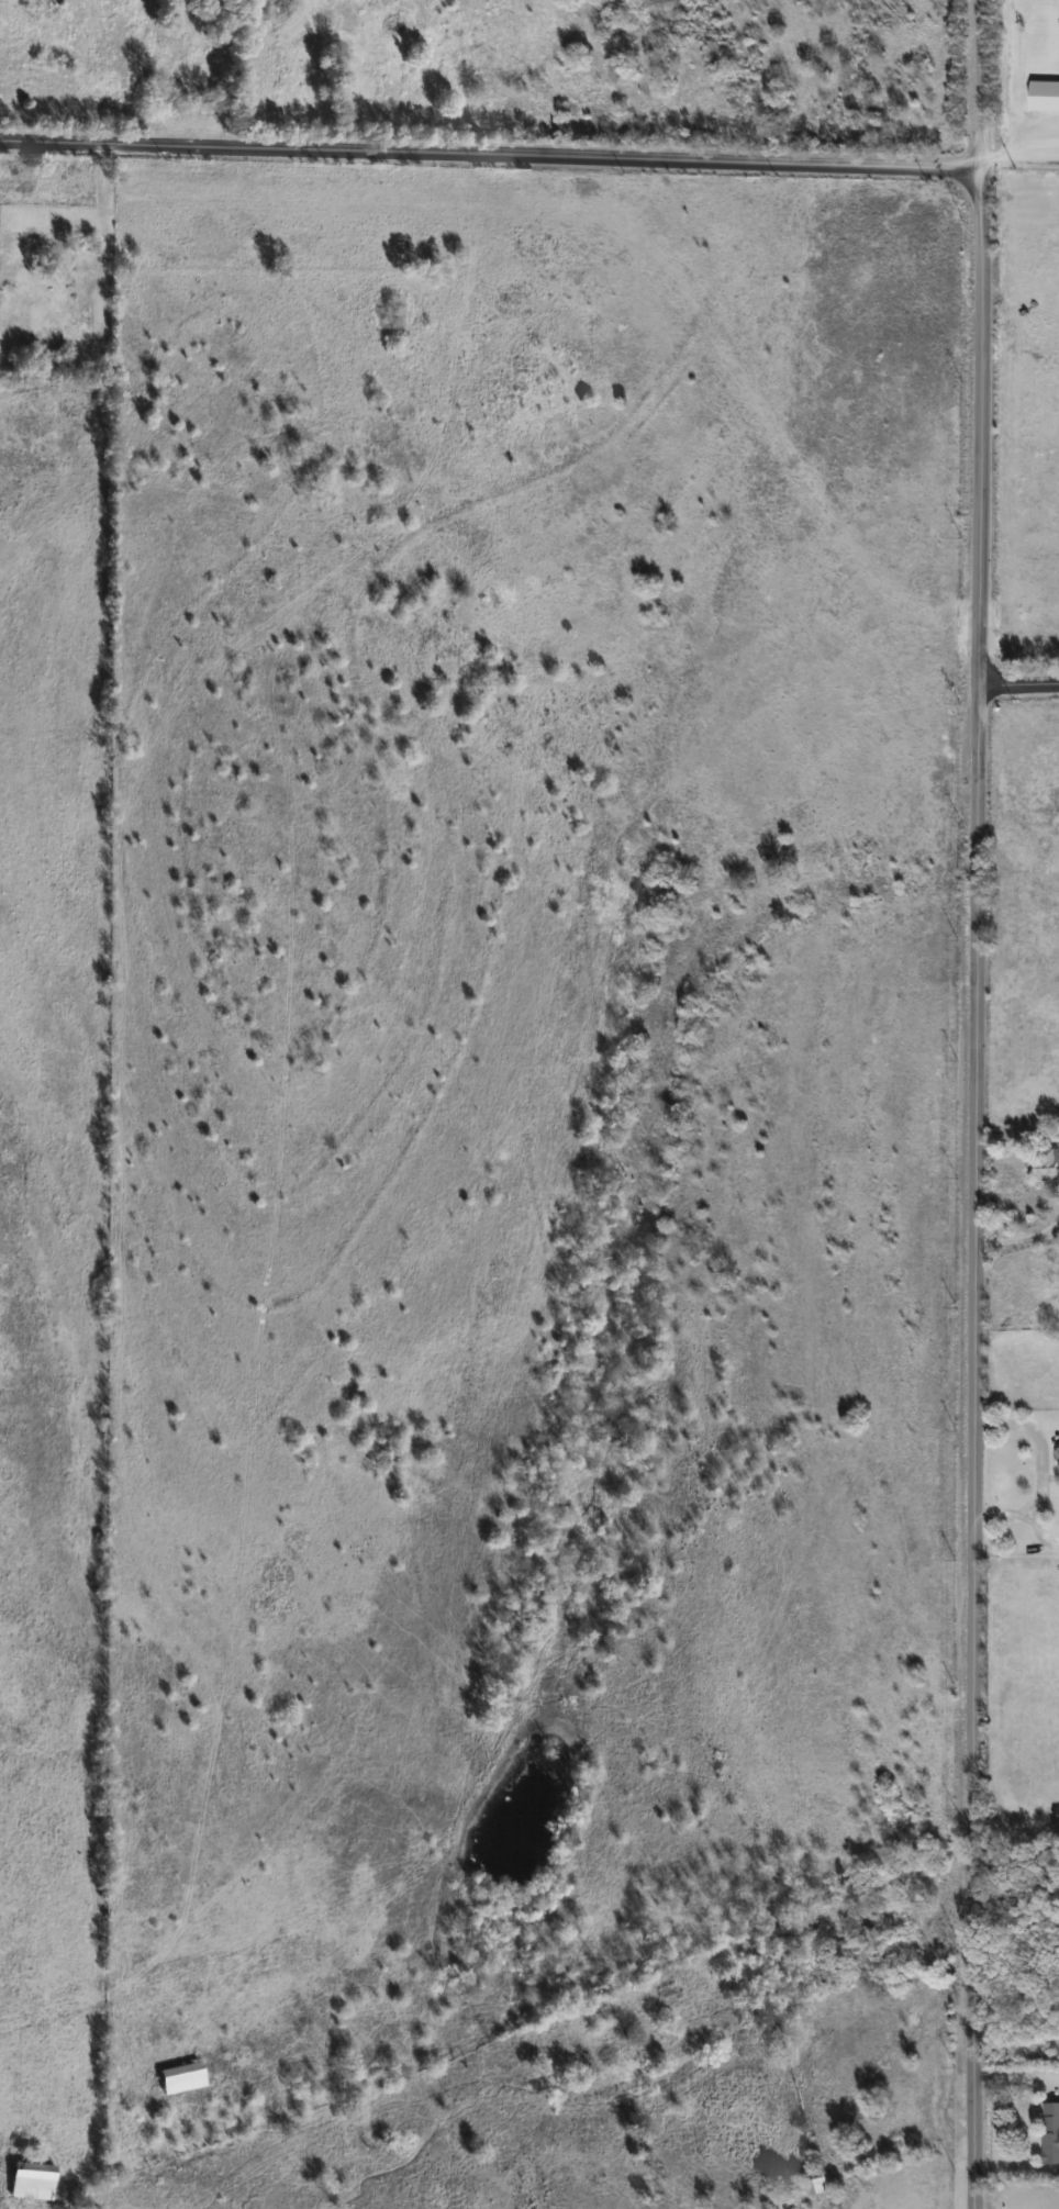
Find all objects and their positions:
road: (979, 83)
road: (490, 154)
road: (1019, 155)
road: (1019, 685)
building: (1046, 1165)
road: (970, 1187)
road: (1016, 1239)
building: (1058, 1455)
building: (177, 2077)
building: (1050, 2133)
building: (27, 2180)
building: (815, 2185)

